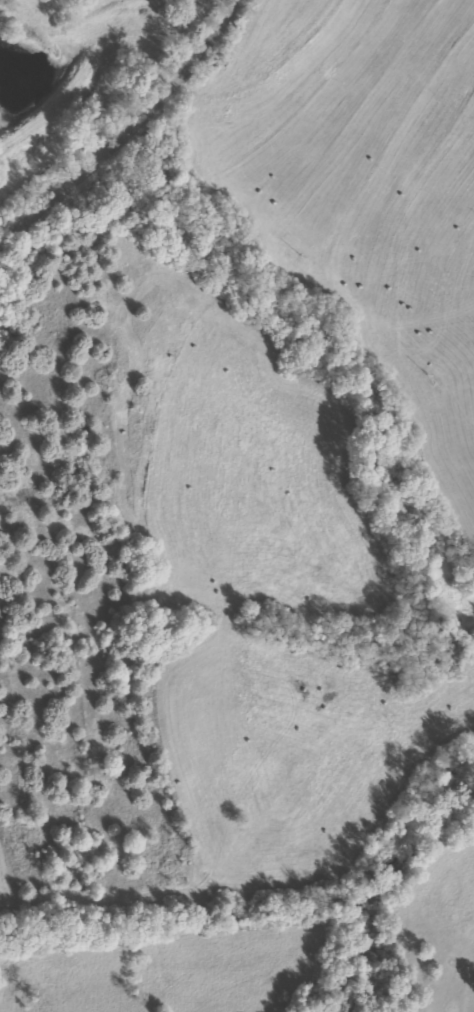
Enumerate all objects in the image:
road: (99, 104)

